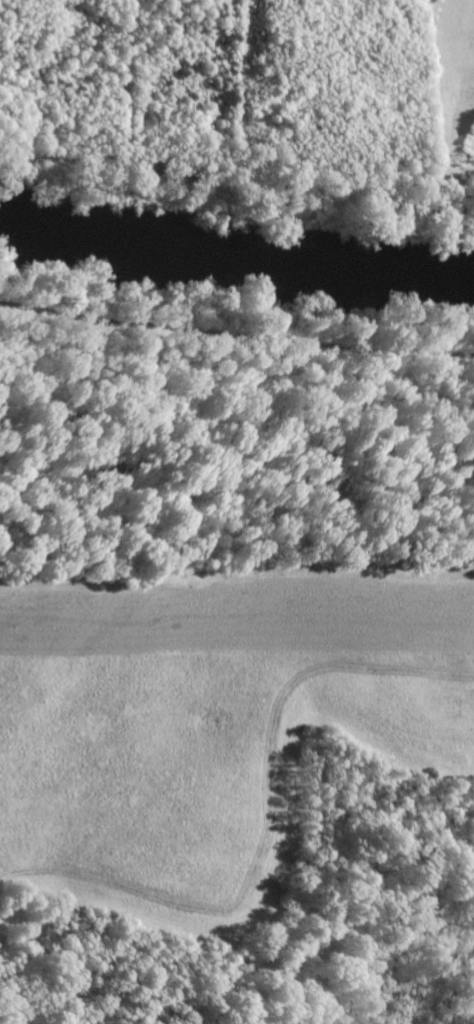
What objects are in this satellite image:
river: (235, 259)
road: (237, 329)

